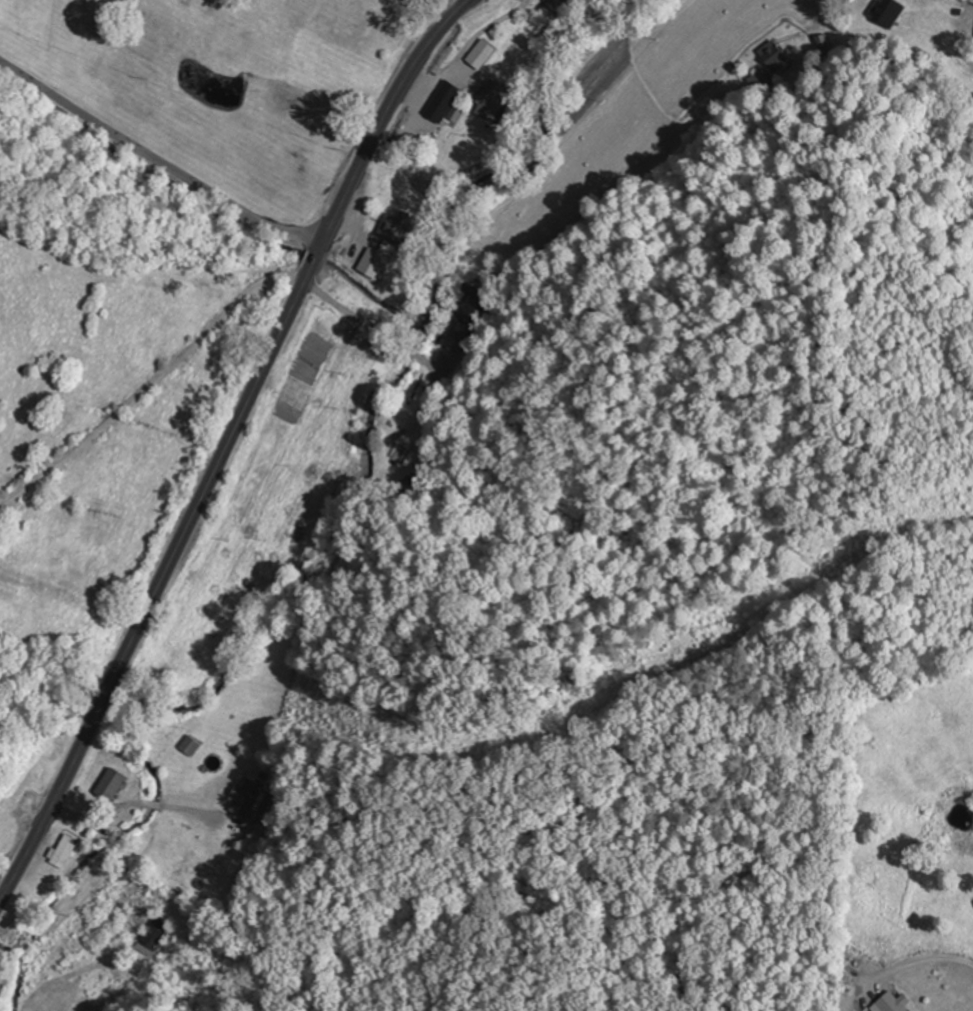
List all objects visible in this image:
building: (886, 11)
building: (821, 42)
building: (481, 53)
building: (772, 55)
building: (756, 78)
road: (828, 100)
building: (444, 101)
building: (494, 101)
road: (159, 159)
building: (396, 226)
building: (472, 304)
road: (227, 445)
building: (406, 457)
building: (111, 784)
building: (246, 797)
road: (150, 803)
road: (165, 805)
road: (95, 811)
building: (64, 851)
building: (185, 874)
building: (153, 935)
building: (3, 969)
building: (895, 1002)

